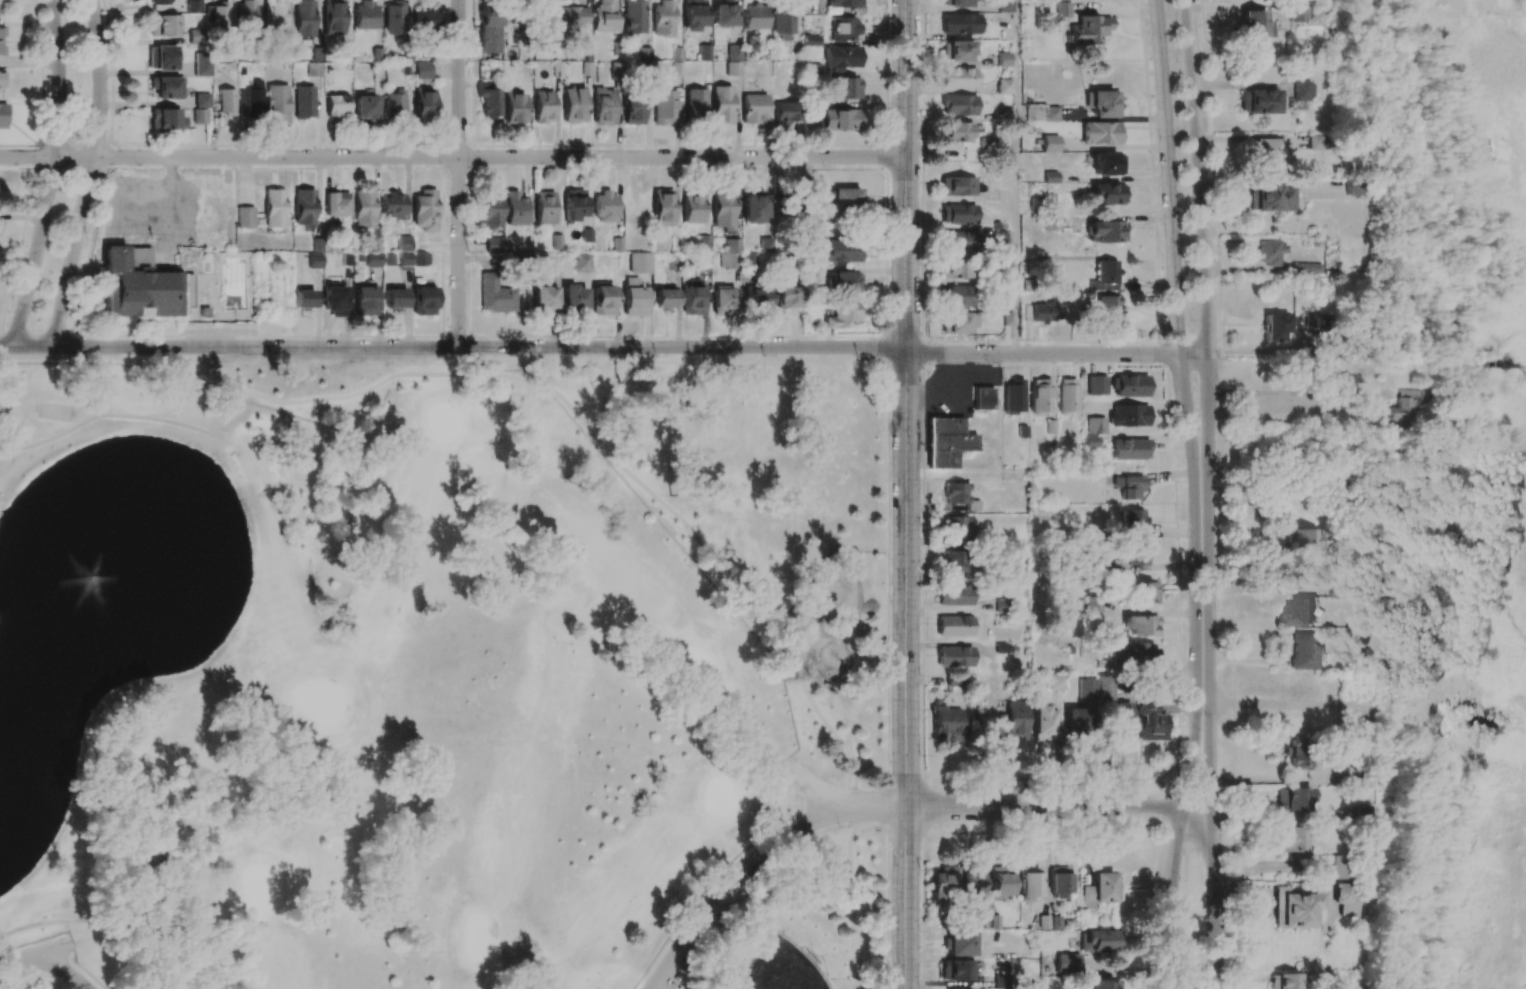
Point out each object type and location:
building: (159, 2)
building: (842, 3)
building: (956, 3)
building: (194, 6)
building: (1004, 6)
building: (1062, 9)
building: (245, 14)
building: (692, 14)
building: (724, 14)
building: (1296, 14)
building: (218, 15)
building: (365, 15)
building: (424, 16)
building: (604, 16)
building: (273, 17)
building: (332, 17)
building: (633, 17)
building: (754, 17)
building: (304, 18)
building: (393, 18)
building: (566, 19)
building: (662, 19)
building: (782, 22)
building: (959, 24)
building: (164, 25)
building: (1254, 25)
building: (844, 28)
building: (1088, 30)
building: (1, 31)
building: (488, 32)
street lamp: (66, 34)
street lamp: (88, 36)
building: (196, 36)
building: (1, 50)
building: (956, 51)
building: (644, 54)
building: (841, 57)
building: (161, 58)
building: (1003, 59)
building: (733, 60)
street lamp: (1176, 61)
building: (203, 64)
building: (314, 70)
building: (422, 71)
building: (616, 71)
building: (957, 78)
building: (2, 80)
building: (1003, 86)
building: (166, 87)
building: (846, 88)
building: (1302, 90)
building: (202, 100)
building: (251, 100)
building: (226, 102)
building: (304, 102)
building: (695, 102)
building: (1262, 102)
building: (394, 103)
building: (489, 103)
building: (1102, 103)
building: (573, 104)
building: (277, 105)
building: (422, 105)
building: (721, 105)
building: (958, 105)
building: (336, 106)
building: (543, 106)
building: (604, 106)
building: (664, 106)
building: (365, 107)
building: (513, 107)
building: (754, 108)
building: (633, 111)
building: (785, 112)
building: (1042, 113)
building: (2, 116)
building: (200, 116)
building: (809, 116)
building: (166, 119)
building: (840, 120)
building: (955, 132)
building: (1099, 133)
street lamp: (67, 134)
street lamp: (88, 135)
street lamp: (920, 142)
building: (1050, 144)
street lamp: (238, 148)
building: (1266, 153)
road: (453, 157)
building: (1106, 164)
street lamp: (136, 165)
street lamp: (440, 165)
road: (50, 173)
road: (458, 173)
road: (88, 174)
road: (907, 175)
road: (1016, 177)
street lamp: (1184, 180)
building: (957, 186)
building: (1351, 187)
building: (1108, 194)
building: (1270, 198)
building: (844, 199)
building: (337, 204)
building: (573, 204)
building: (392, 206)
building: (752, 206)
building: (544, 207)
building: (604, 207)
building: (692, 207)
building: (274, 208)
building: (304, 208)
building: (662, 208)
building: (363, 209)
building: (491, 209)
building: (515, 209)
building: (722, 209)
building: (424, 210)
building: (958, 214)
building: (244, 217)
building: (1050, 223)
street lamp: (920, 231)
building: (1105, 232)
street lamp: (88, 239)
street lamp: (150, 239)
building: (995, 240)
building: (959, 241)
building: (403, 243)
building: (703, 243)
building: (494, 244)
building: (765, 245)
road: (1203, 250)
road: (1172, 251)
building: (841, 252)
building: (1270, 252)
street lamp: (26, 253)
building: (616, 254)
building: (730, 254)
building: (420, 259)
building: (373, 260)
building: (749, 260)
building: (405, 261)
building: (582, 263)
building: (640, 263)
building: (953, 268)
building: (1306, 268)
building: (1104, 276)
building: (843, 282)
building: (137, 285)
building: (495, 295)
building: (956, 296)
building: (788, 297)
building: (574, 298)
building: (634, 298)
building: (692, 298)
building: (757, 298)
building: (303, 299)
building: (333, 299)
building: (394, 299)
building: (603, 299)
building: (665, 299)
building: (364, 301)
building: (423, 301)
building: (546, 301)
building: (723, 301)
building: (1107, 307)
street lamp: (920, 311)
building: (1039, 313)
flagpole: (41, 314)
building: (842, 314)
street lamp: (1191, 320)
building: (1314, 321)
building: (957, 322)
building: (1275, 327)
street lamp: (35, 329)
street lamp: (975, 343)
street lamp: (1098, 343)
road: (453, 346)
street lamp: (148, 353)
street lamp: (243, 354)
road: (1057, 354)
street lamp: (367, 356)
street lamp: (470, 356)
street lamp: (560, 356)
street lamp: (764, 356)
street lamp: (856, 356)
street lamp: (654, 357)
street lamp: (1139, 363)
building: (1093, 382)
building: (1130, 385)
park: (131, 388)
building: (1040, 396)
building: (1067, 396)
building: (1013, 397)
road: (955, 398)
parking lot: (959, 399)
building: (982, 399)
building: (1397, 408)
road: (110, 414)
street lamp: (929, 415)
building: (1128, 415)
park: (443, 421)
building: (1095, 426)
street lamp: (889, 432)
building: (1090, 441)
building: (945, 442)
road: (602, 444)
building: (1130, 449)
park: (511, 452)
park: (252, 463)
street lamp: (1217, 464)
building: (1131, 487)
building: (956, 495)
building: (1133, 520)
street lamp: (919, 528)
building: (955, 528)
building: (1305, 541)
building: (1137, 553)
building: (956, 561)
road: (888, 565)
building: (1146, 593)
building: (954, 596)
park: (386, 600)
street lamp: (890, 602)
street lamp: (1187, 606)
road: (1202, 607)
building: (1301, 611)
park: (754, 617)
building: (1141, 625)
building: (954, 626)
building: (1304, 651)
building: (1137, 654)
park: (559, 656)
building: (954, 657)
park: (695, 665)
road: (906, 669)
street lamp: (919, 676)
building: (952, 680)
building: (1055, 682)
park: (356, 685)
building: (1105, 688)
building: (1087, 689)
park: (320, 699)
road: (1268, 703)
building: (1120, 720)
building: (1013, 721)
building: (1042, 721)
building: (1076, 721)
building: (1150, 722)
building: (947, 725)
street lamp: (1218, 742)
building: (1296, 751)
street lamp: (890, 761)
road: (1232, 771)
road: (1268, 781)
road: (811, 785)
park: (723, 791)
building: (1293, 799)
road: (1057, 806)
road: (887, 807)
street lamp: (838, 826)
building: (159, 837)
building: (1291, 841)
road: (1174, 849)
road: (1213, 850)
road: (752, 857)
building: (1340, 868)
street lamp: (920, 869)
street lamp: (1179, 879)
building: (970, 880)
building: (1059, 882)
building: (943, 883)
building: (1000, 883)
building: (1029, 884)
street lamp: (1203, 884)
park: (252, 888)
building: (1100, 889)
building: (1344, 900)
park: (48, 905)
building: (1293, 909)
road: (887, 911)
road: (95, 919)
street lamp: (709, 921)
parking lot: (708, 928)
road: (131, 931)
park: (479, 937)
building: (1100, 940)
building: (958, 944)
street lamp: (890, 951)
road: (47, 958)
street lamp: (78, 962)
building: (1068, 963)
park: (44, 966)
park: (779, 968)
building: (956, 970)
building: (1000, 981)
building: (1283, 981)
park: (622, 984)
building: (1103, 984)
park: (513, 988)

